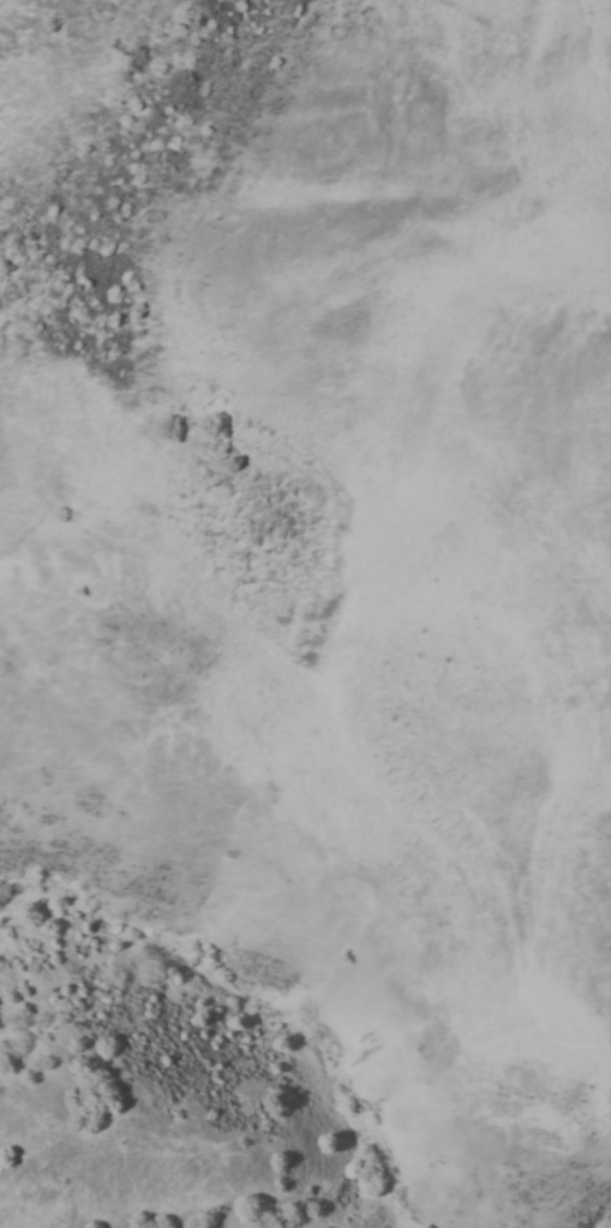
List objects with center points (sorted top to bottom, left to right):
park: (585, 1200)

